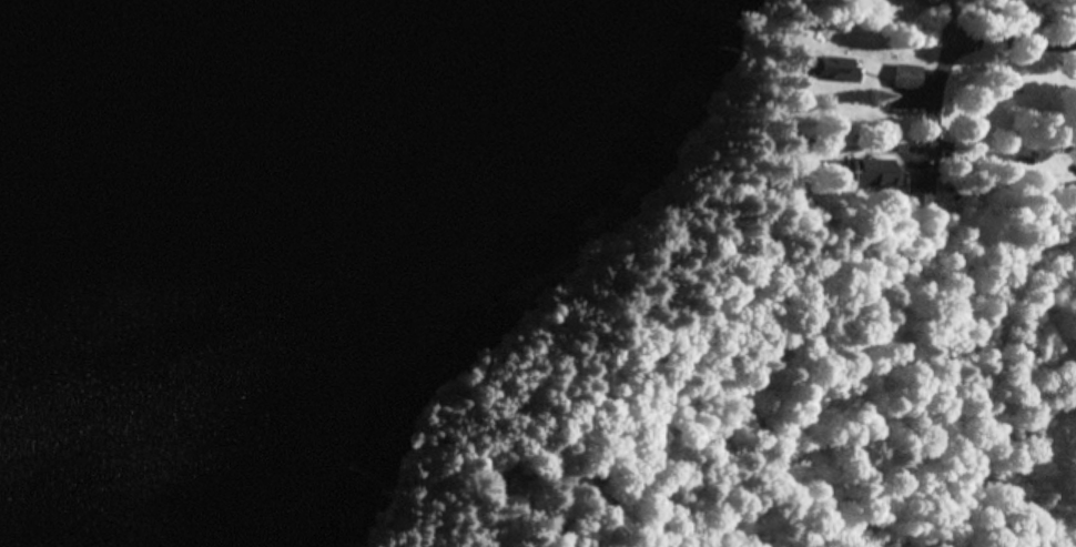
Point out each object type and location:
road: (941, 30)
road: (1006, 61)
building: (836, 69)
building: (907, 77)
building: (870, 171)
building: (920, 192)
building: (504, 486)

